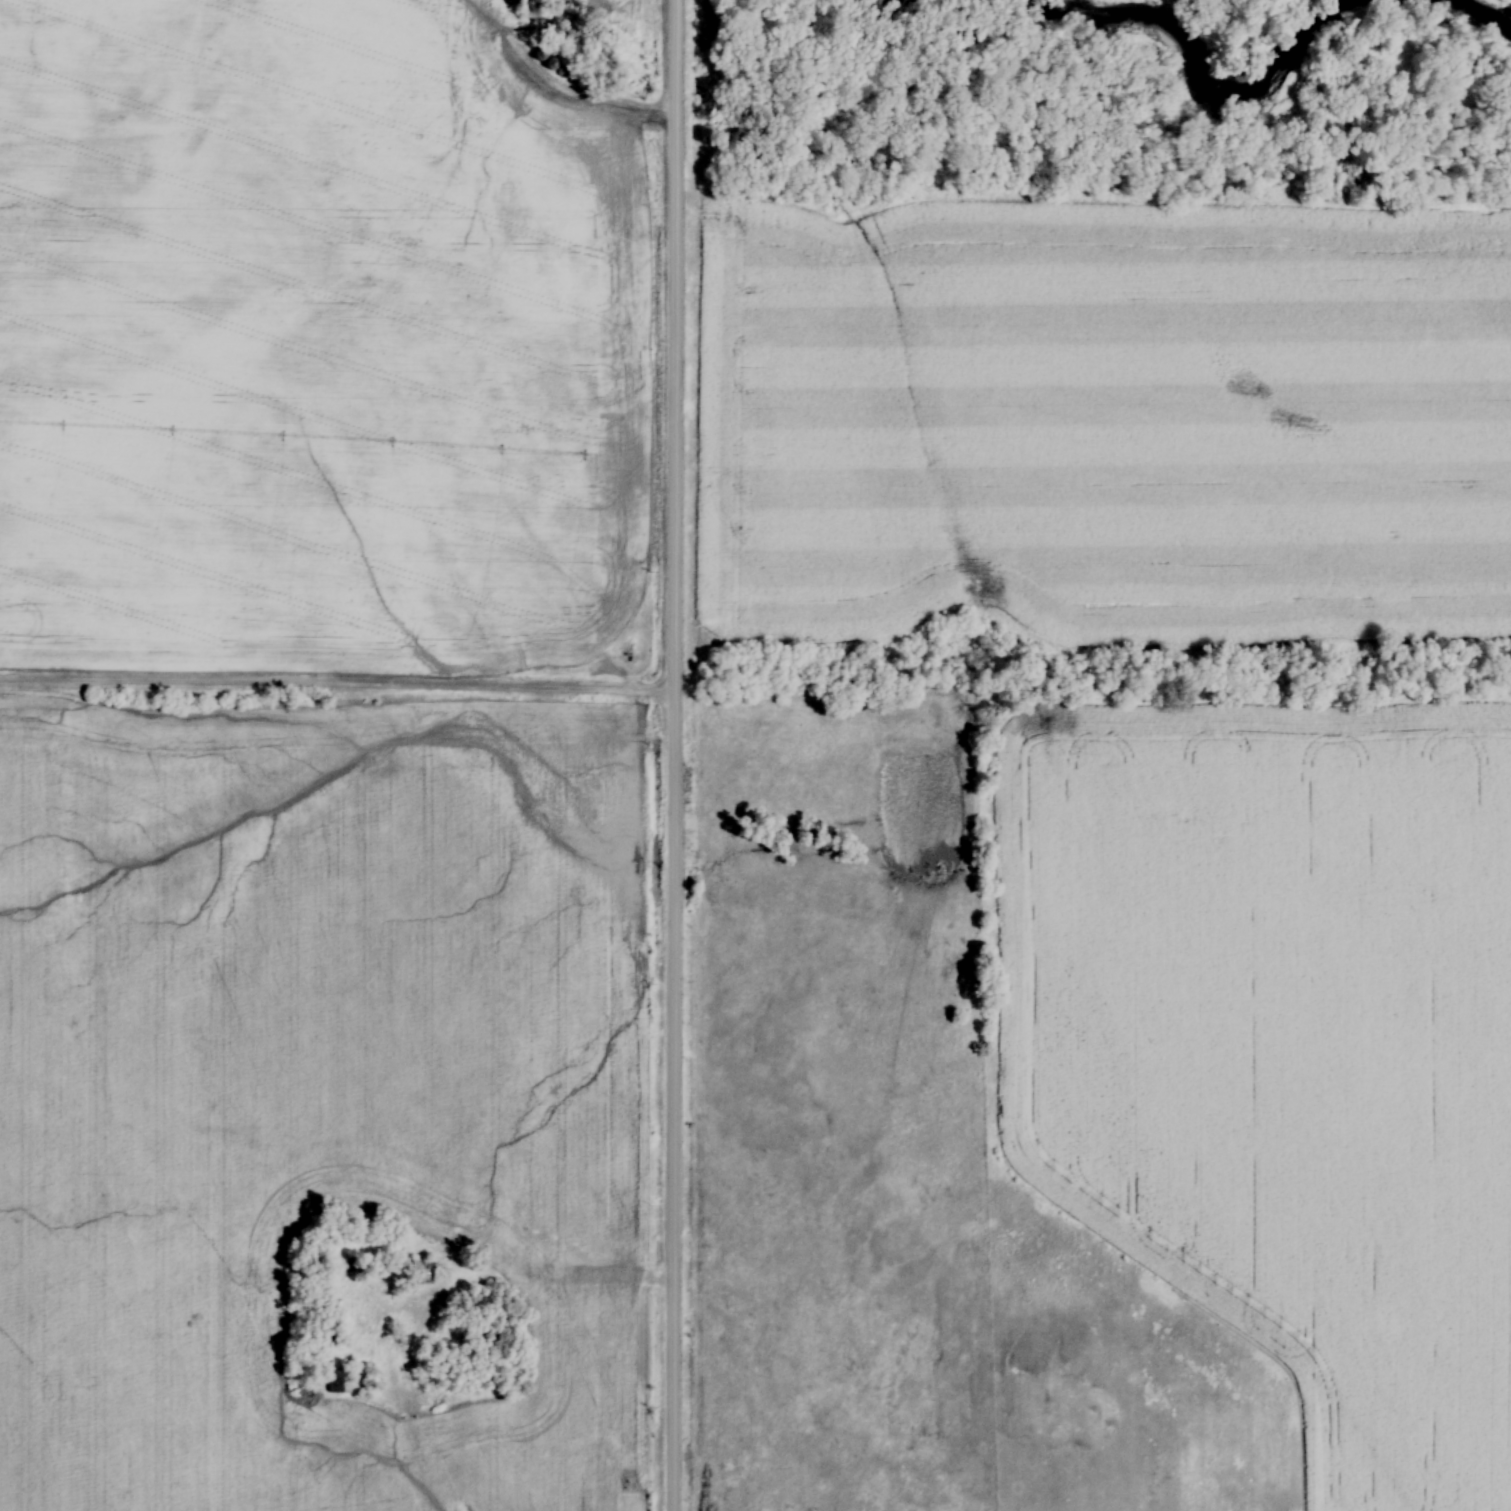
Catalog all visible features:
building: (534, 55)
building: (546, 64)
road: (672, 755)
building: (414, 1271)
building: (324, 1301)
building: (334, 1381)

